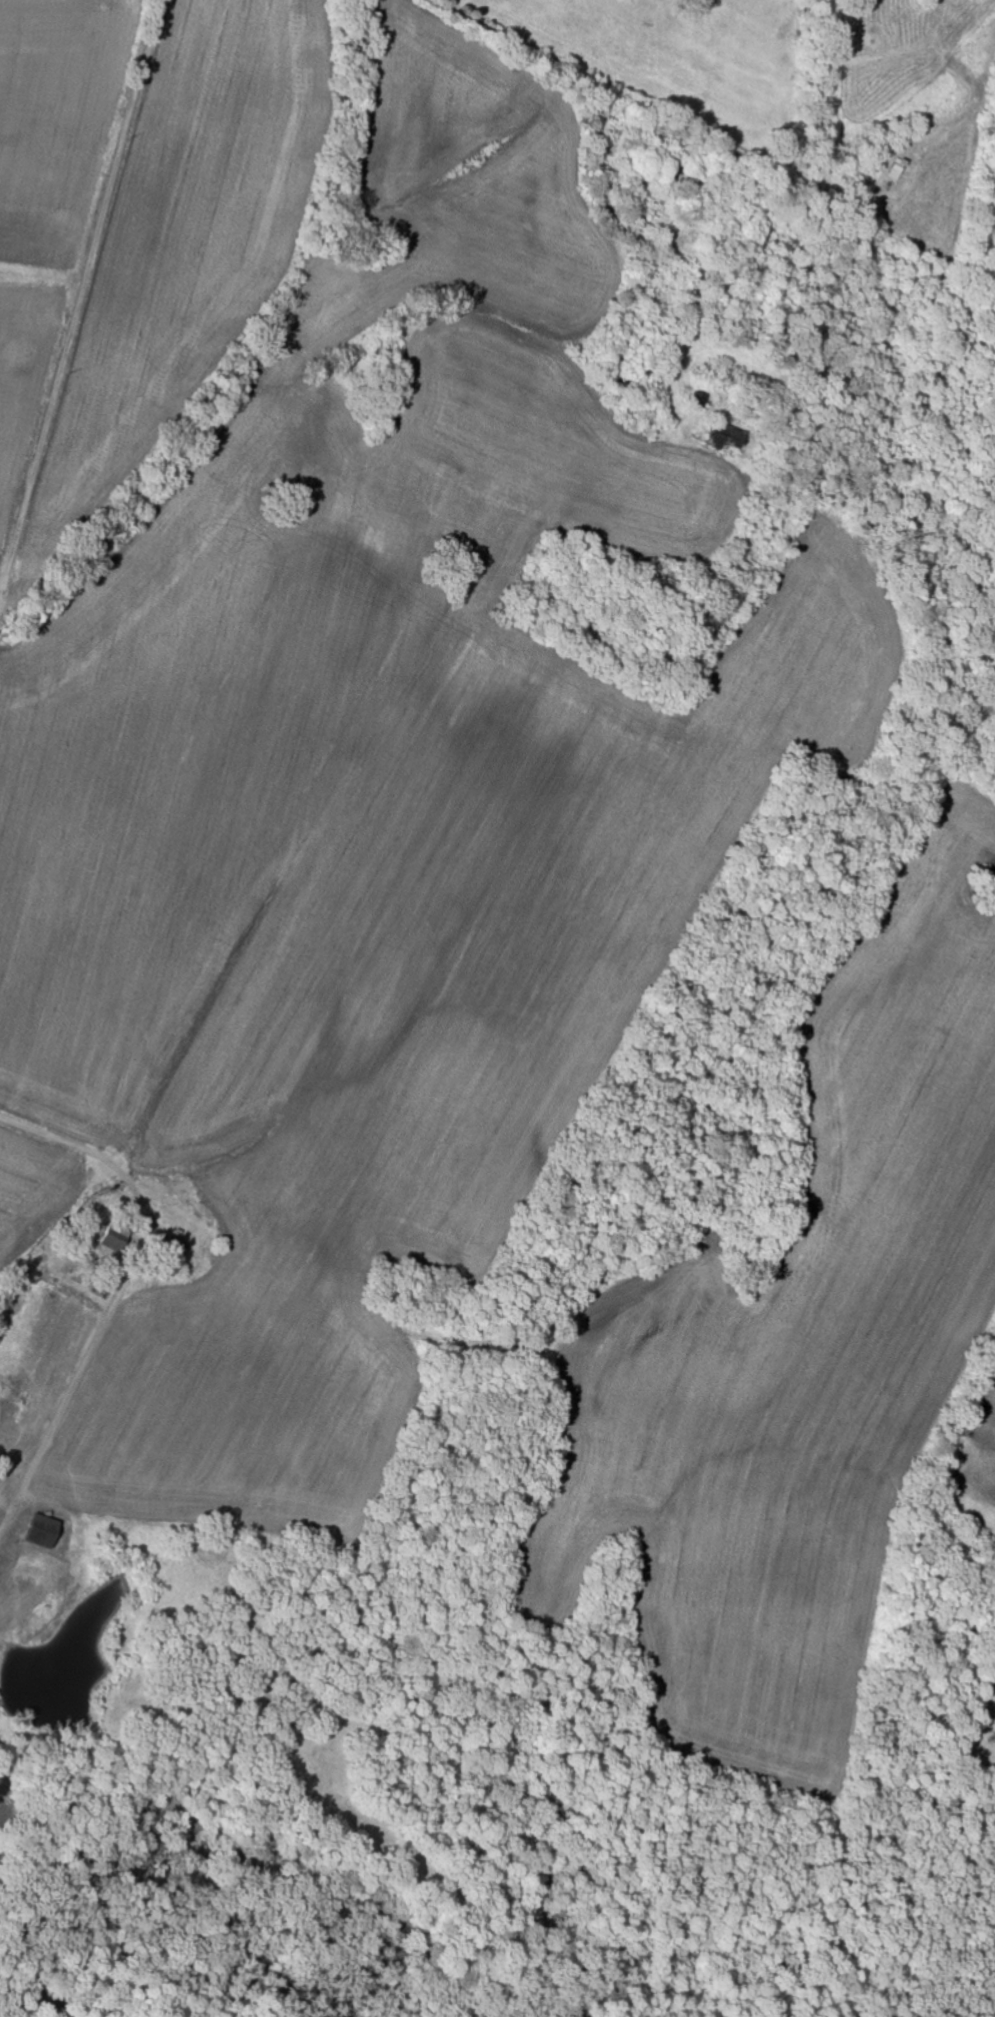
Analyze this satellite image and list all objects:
building: (119, 1238)
building: (49, 1532)

